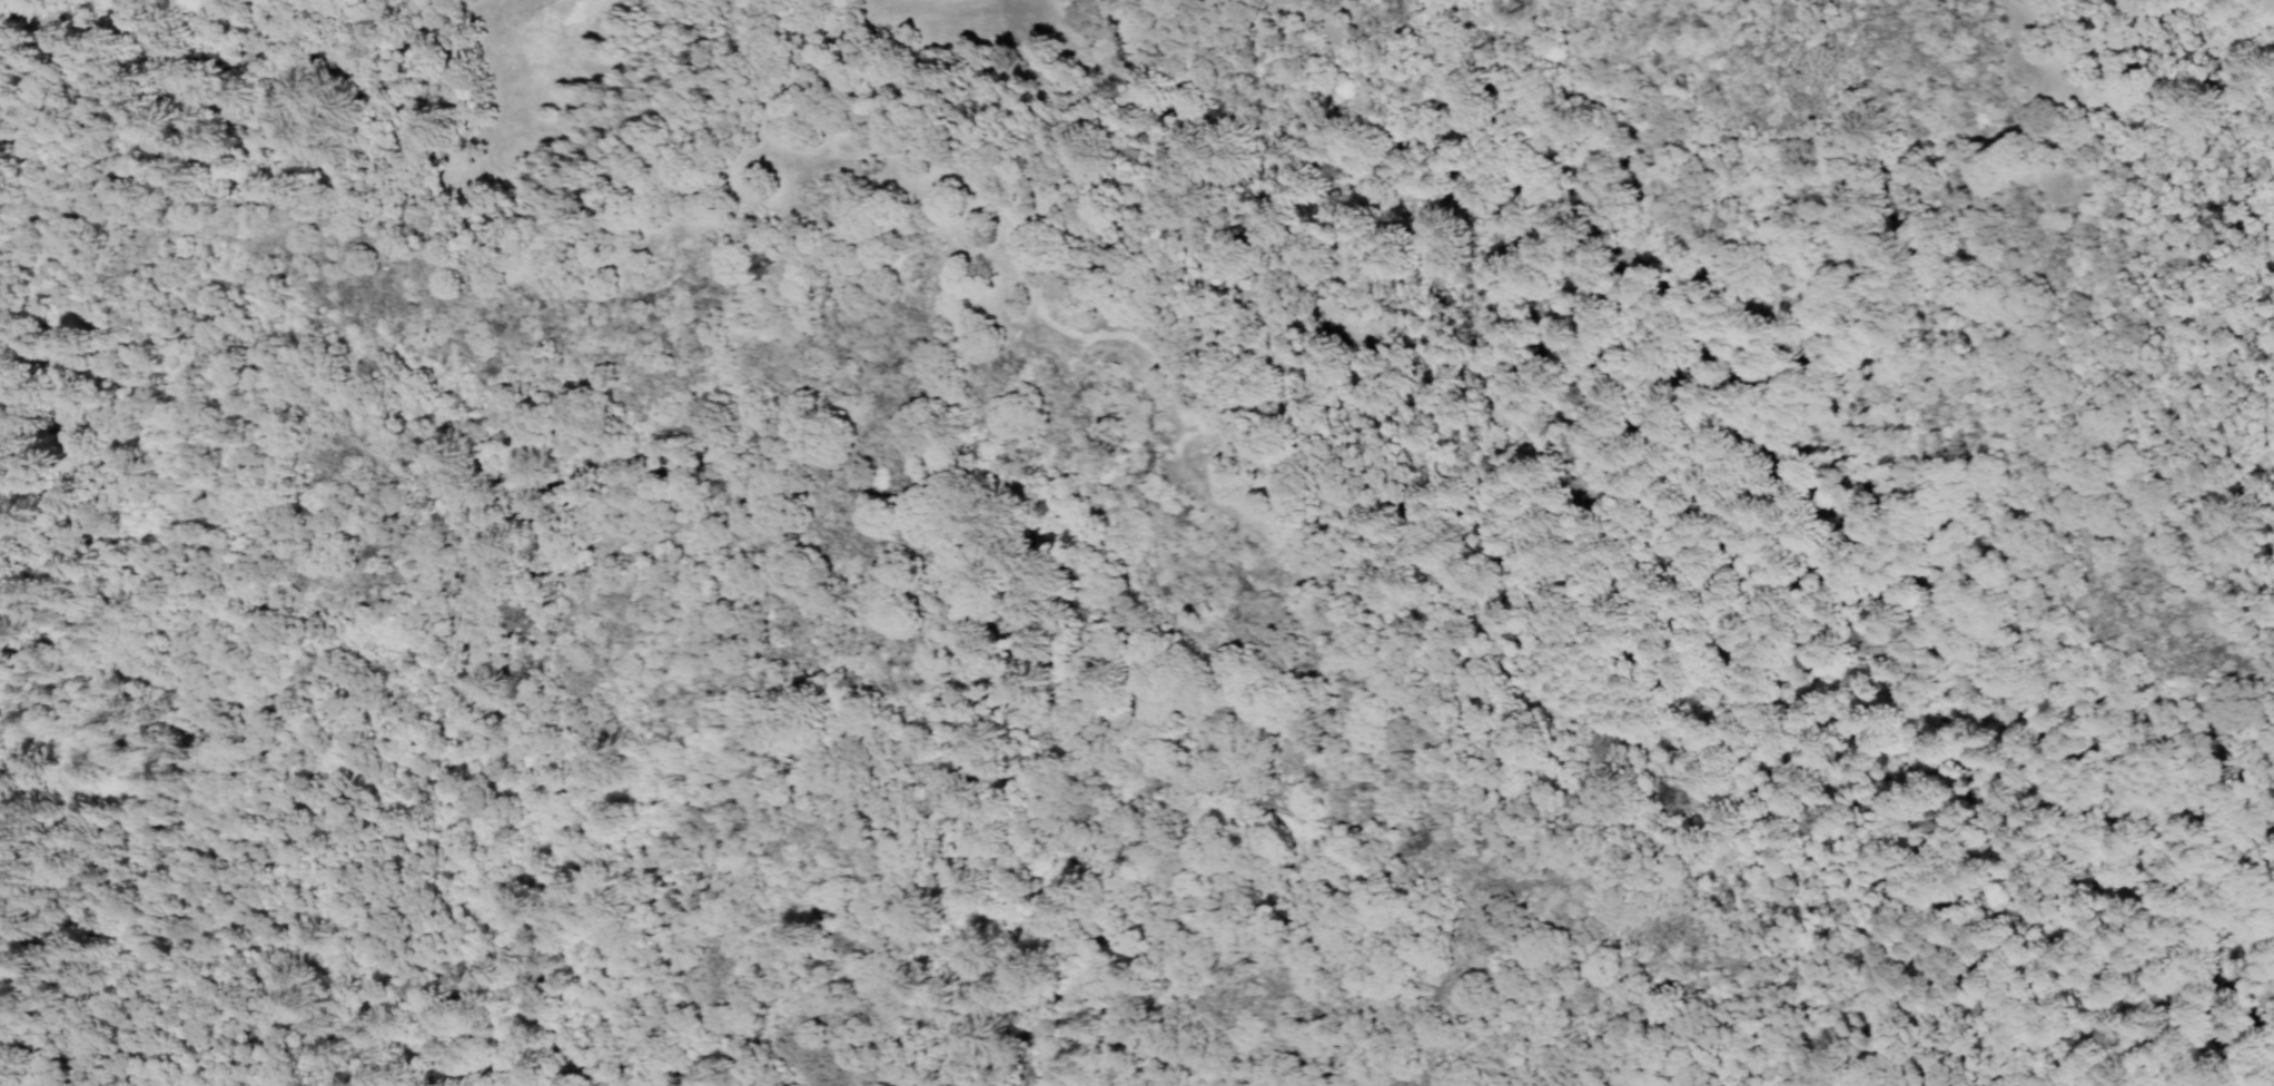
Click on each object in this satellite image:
road: (2049, 87)
road: (896, 905)
road: (220, 1008)
road: (512, 1039)

